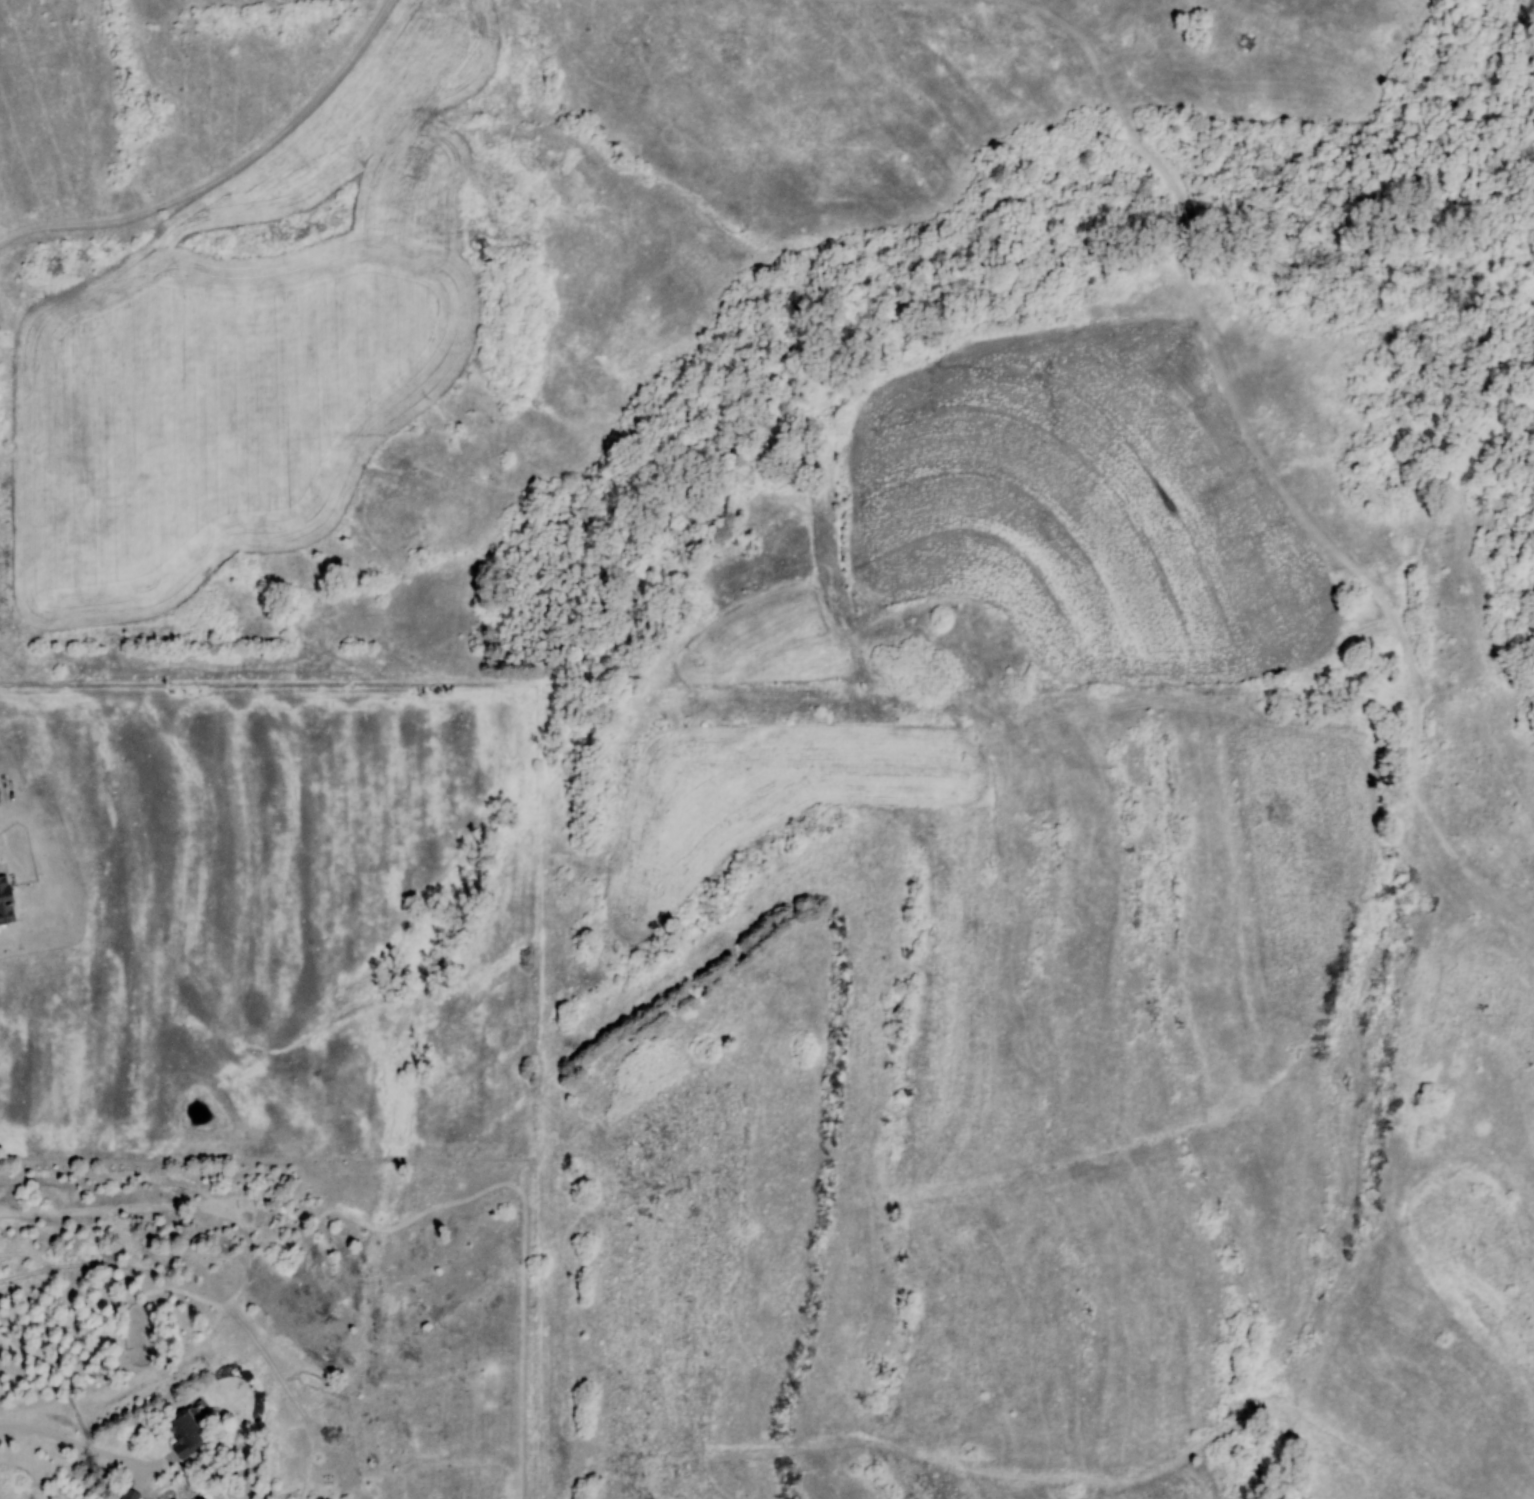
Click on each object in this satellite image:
building: (4, 903)
building: (181, 1433)
road: (81, 1445)
building: (127, 1493)

